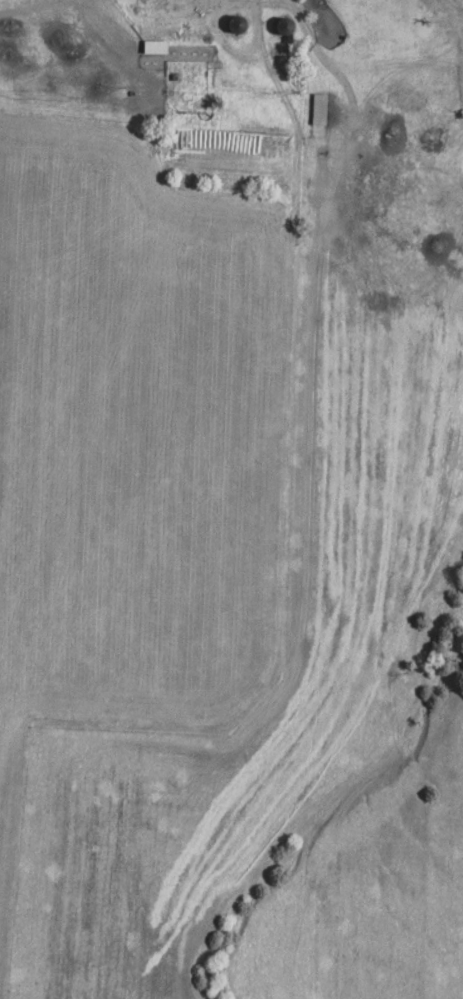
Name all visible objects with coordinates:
building: (280, 30)
building: (153, 50)
building: (315, 112)

